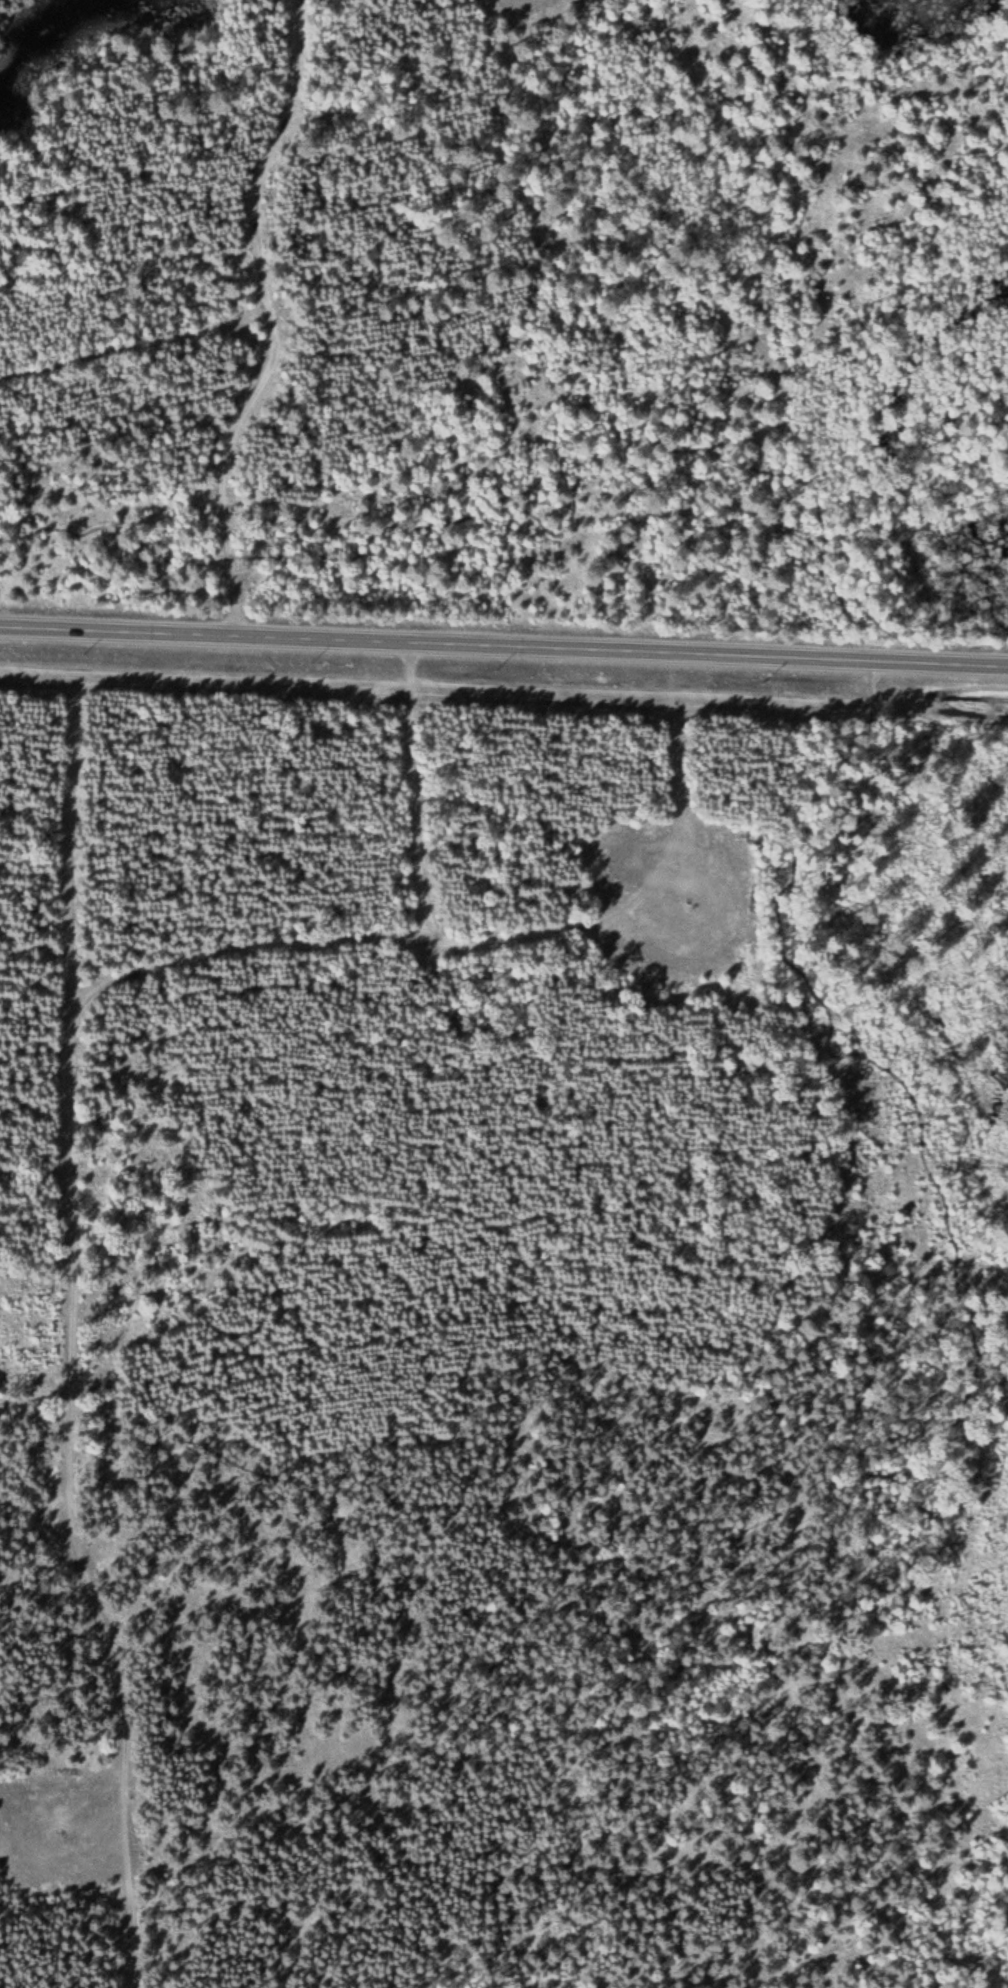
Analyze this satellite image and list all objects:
road: (275, 320)
road: (146, 346)
road: (256, 353)
road: (504, 645)
road: (416, 883)
road: (832, 1024)
road: (71, 1312)
road: (42, 1534)

